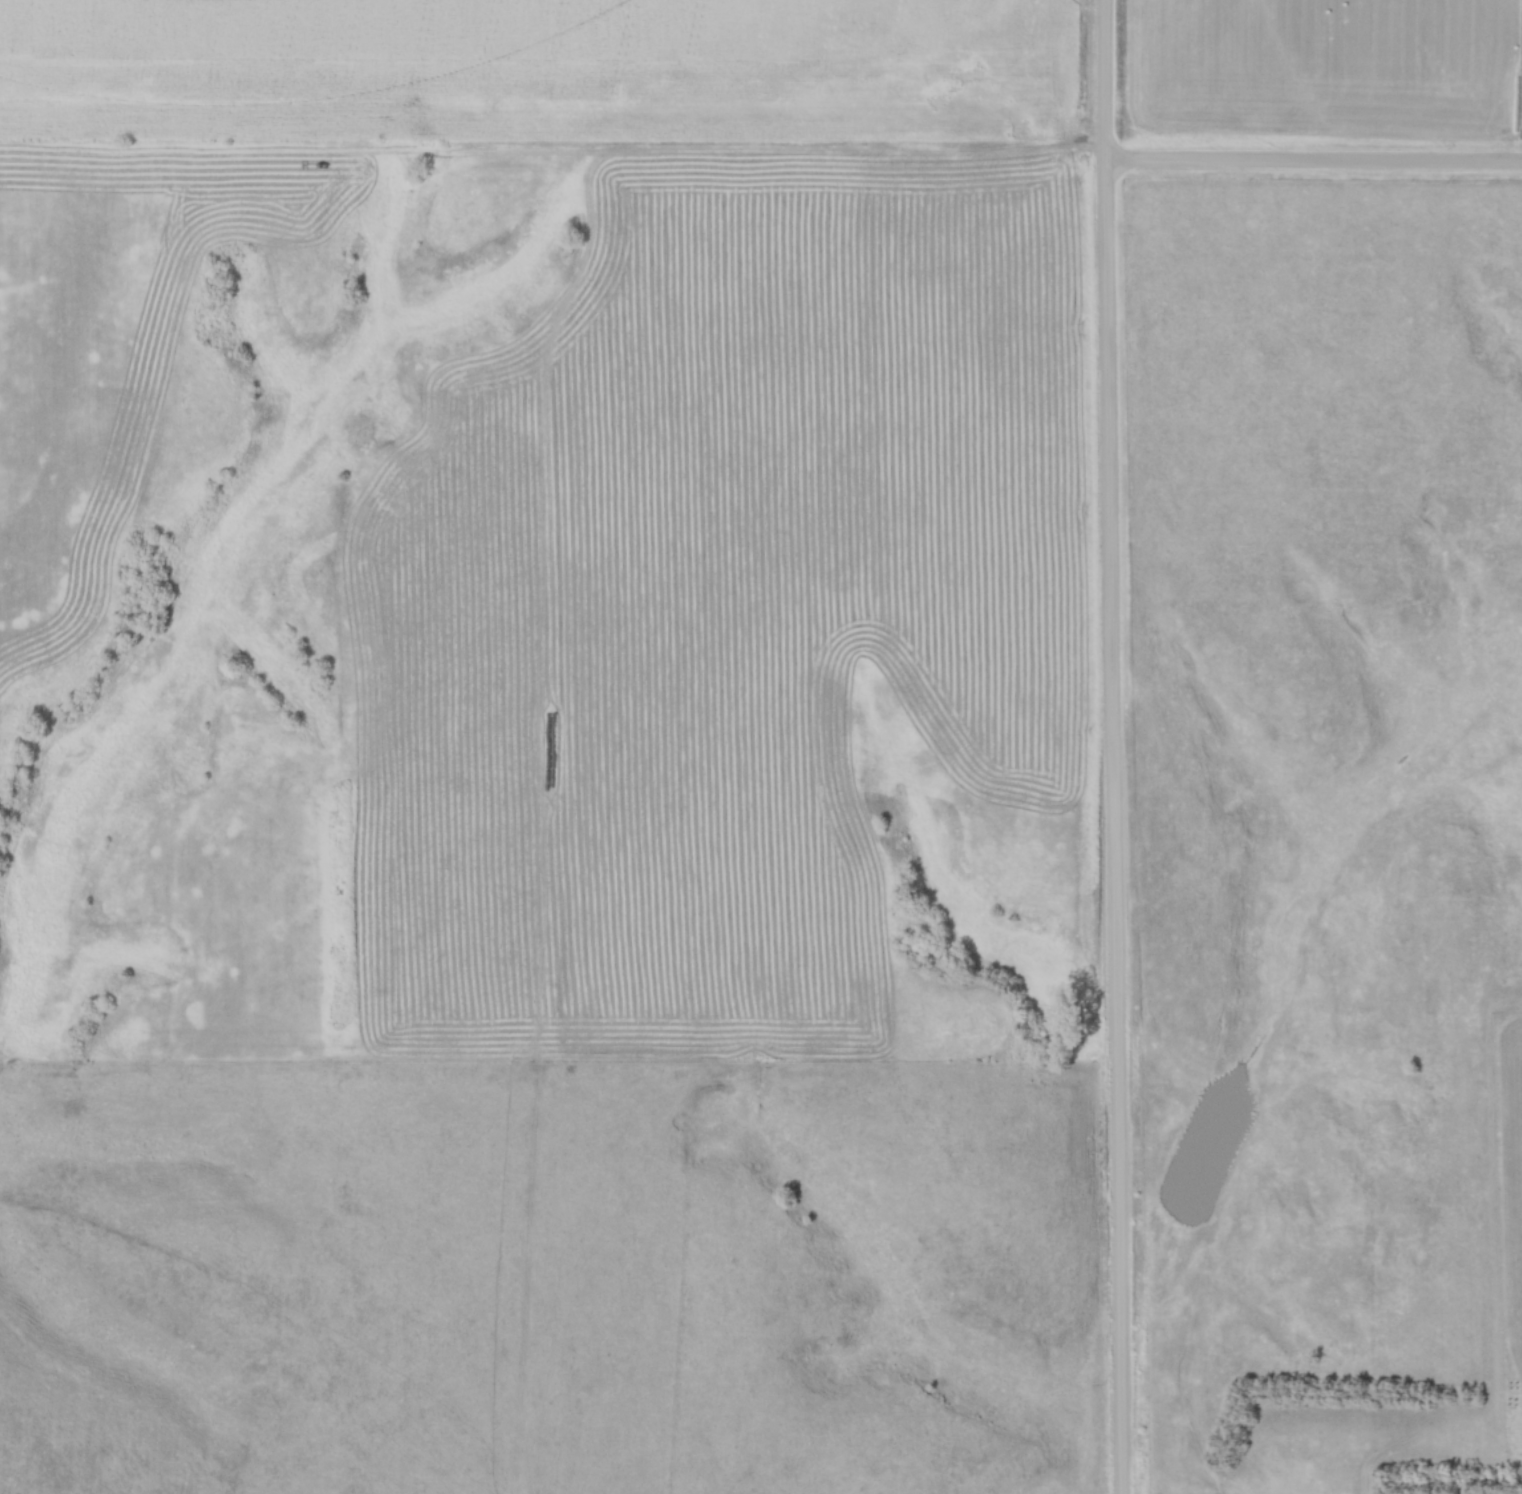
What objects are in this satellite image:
road: (1311, 163)
road: (1109, 747)

